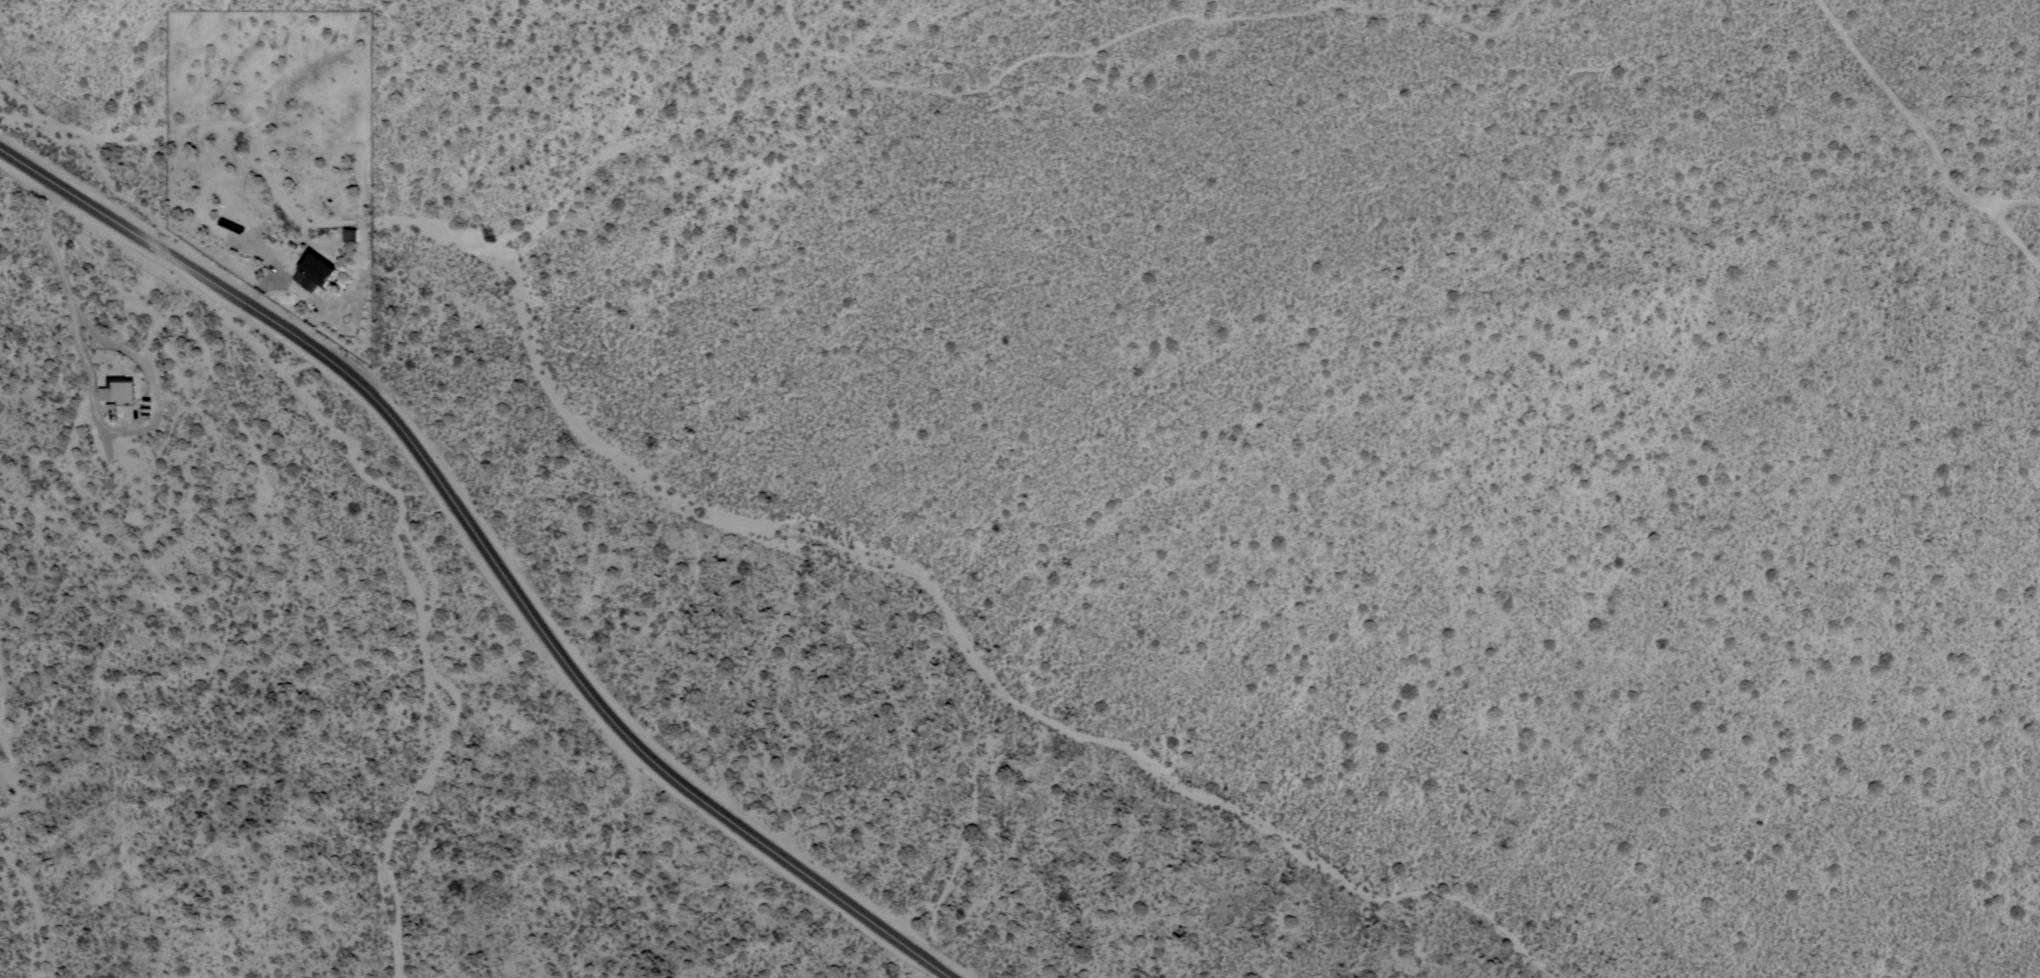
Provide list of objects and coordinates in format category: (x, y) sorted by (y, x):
building: (350, 234)
building: (307, 280)
building: (118, 389)
road: (488, 546)

